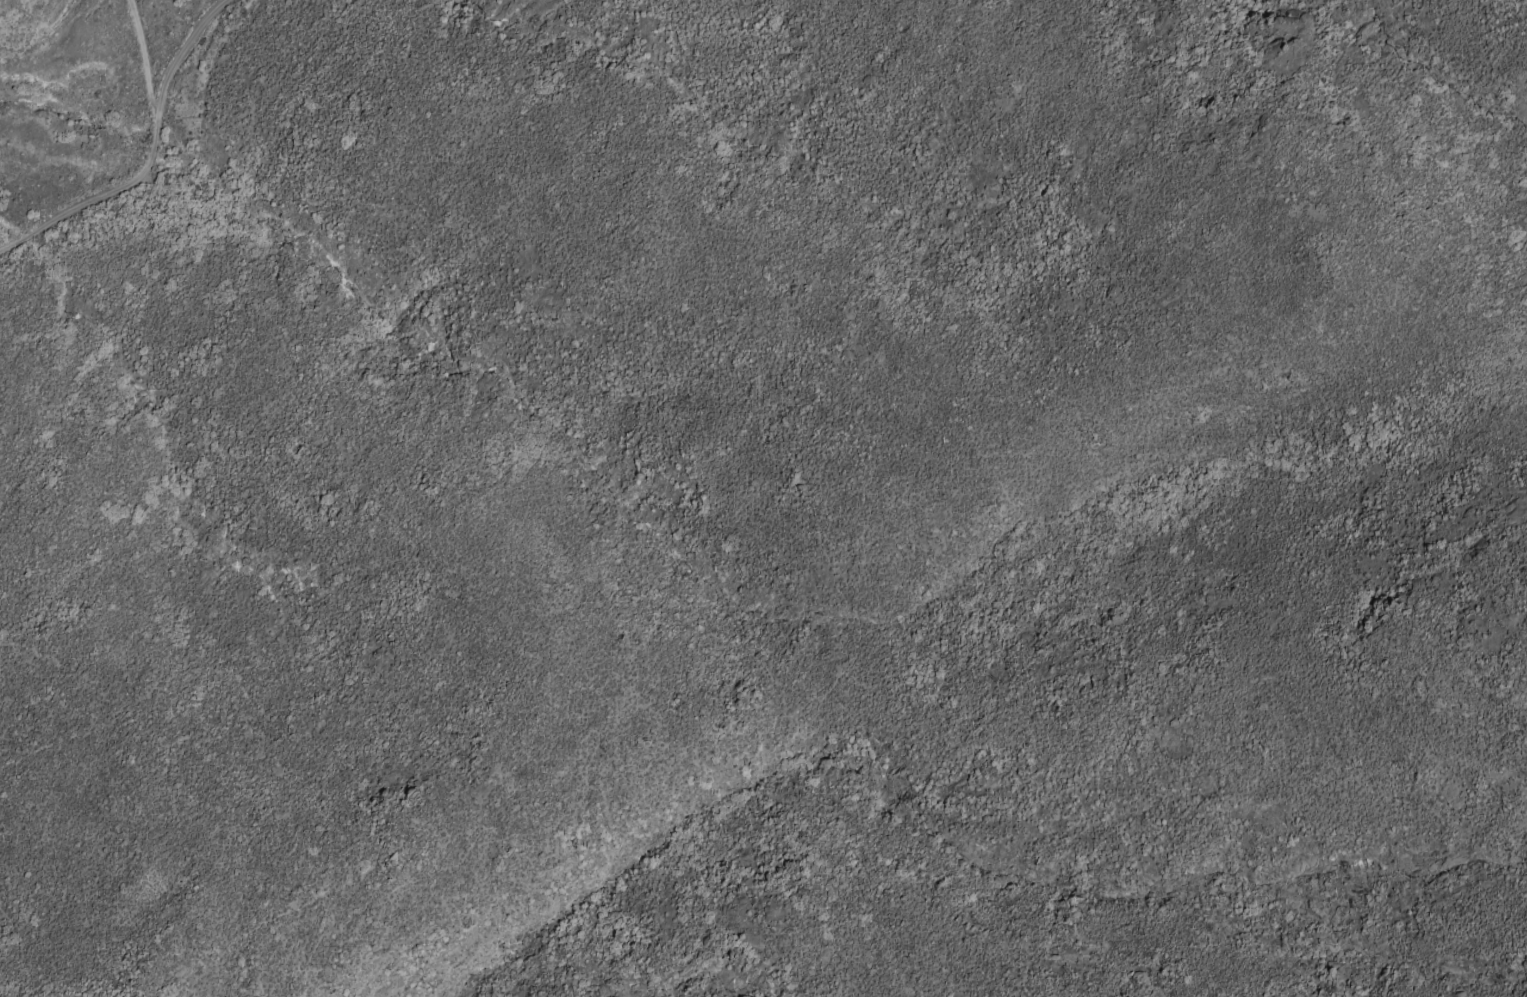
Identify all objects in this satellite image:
road: (149, 50)
road: (153, 157)

